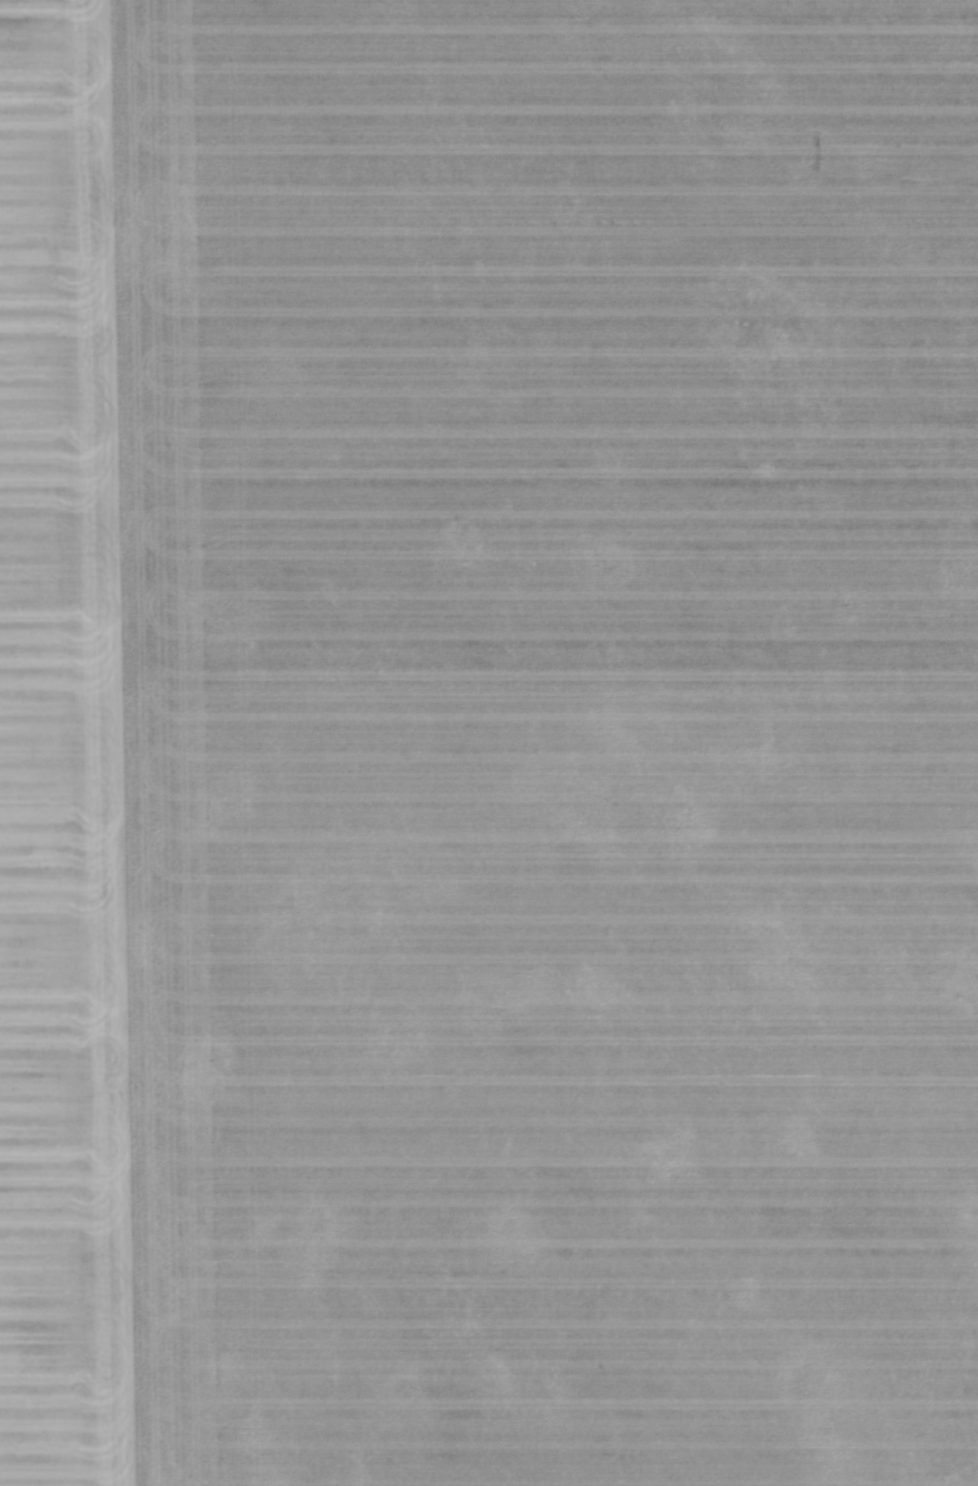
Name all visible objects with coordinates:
crop: (60, 765)

